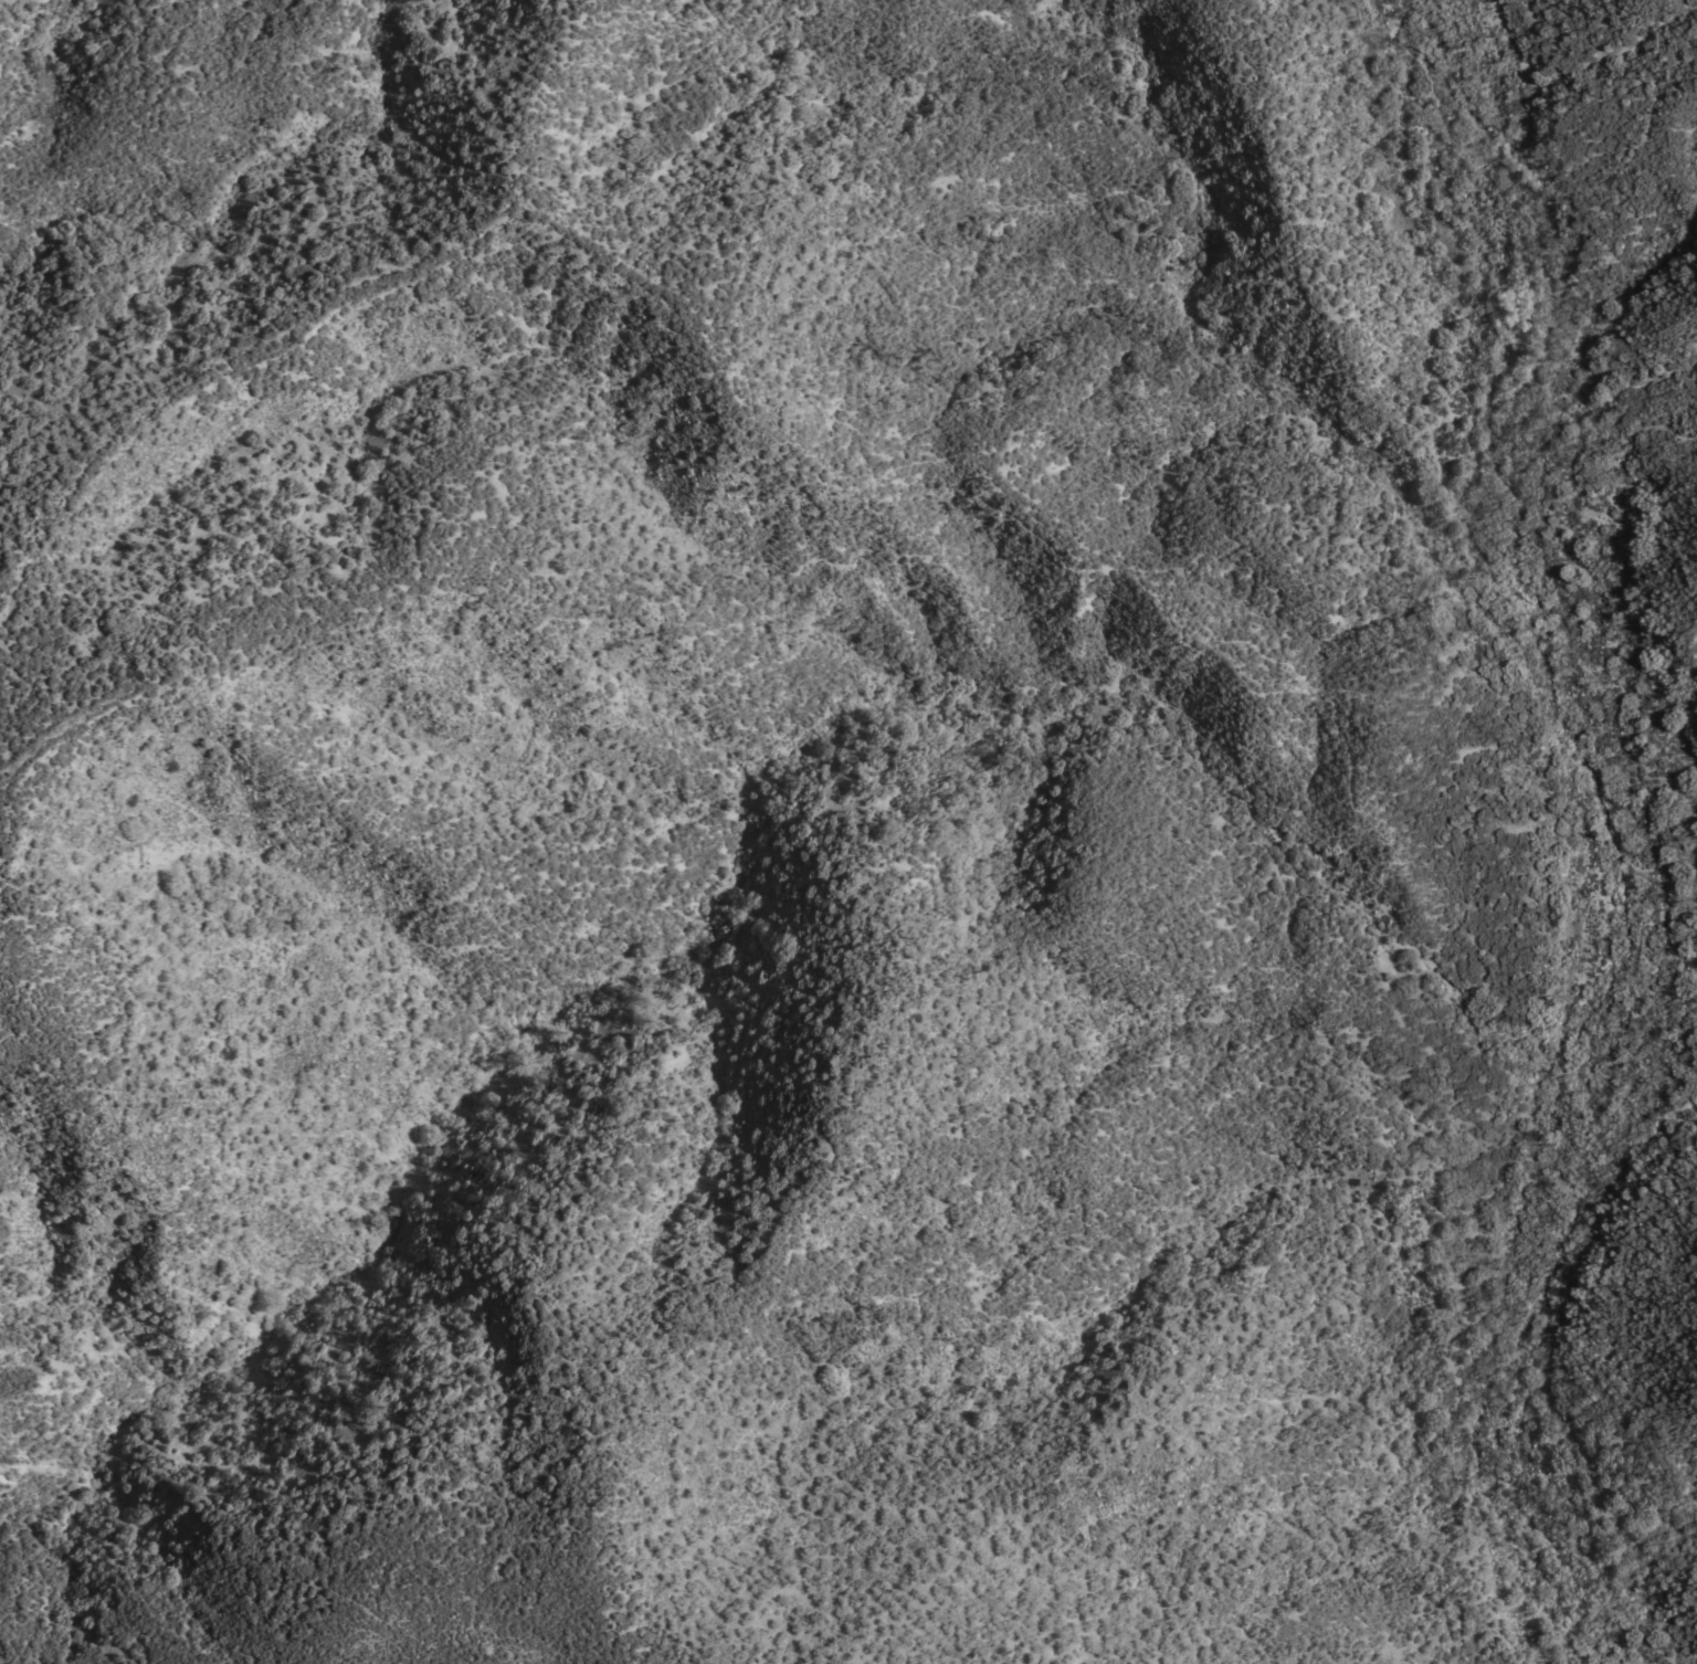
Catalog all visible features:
road: (895, 540)

